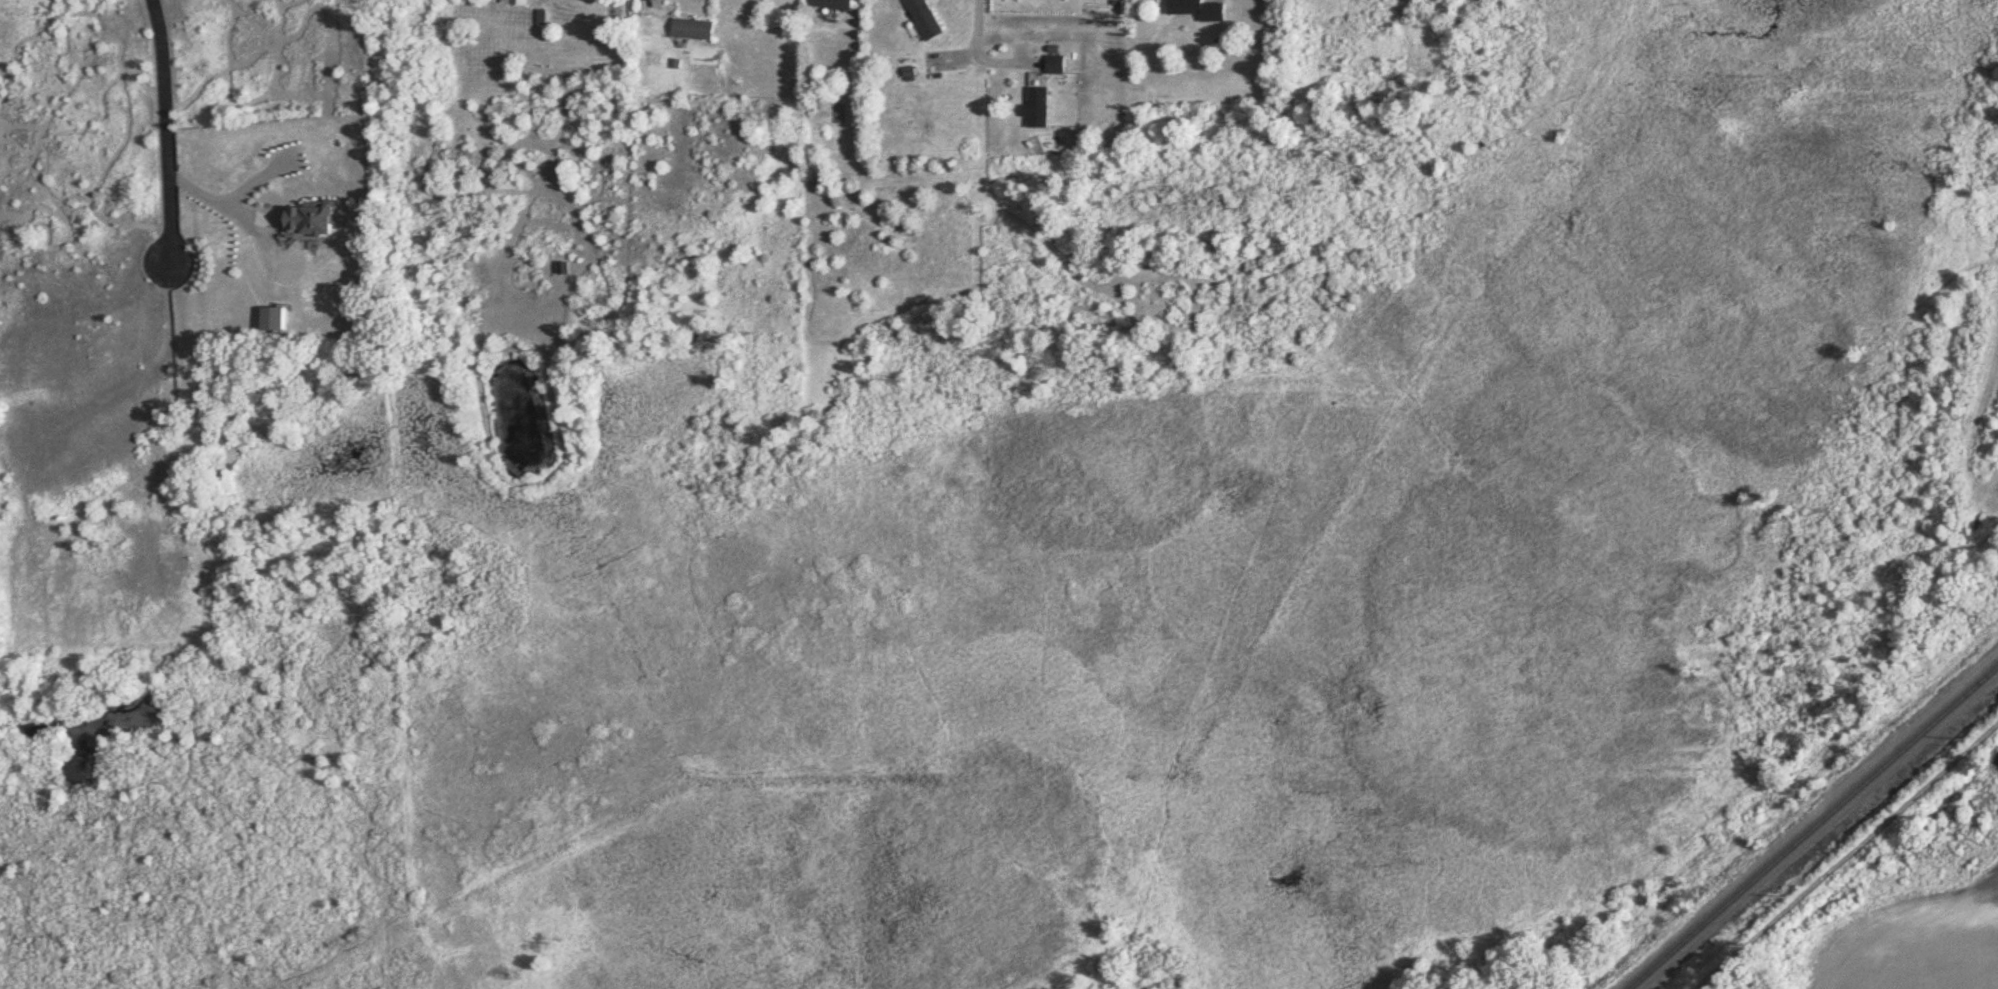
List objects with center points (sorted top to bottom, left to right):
building: (513, 3)
road: (654, 5)
building: (833, 5)
building: (1196, 10)
building: (923, 19)
road: (973, 24)
building: (692, 31)
building: (1055, 66)
building: (1036, 110)
road: (170, 133)
road: (216, 197)
building: (308, 221)
building: (271, 321)
railway: (1814, 829)
road: (1847, 856)

